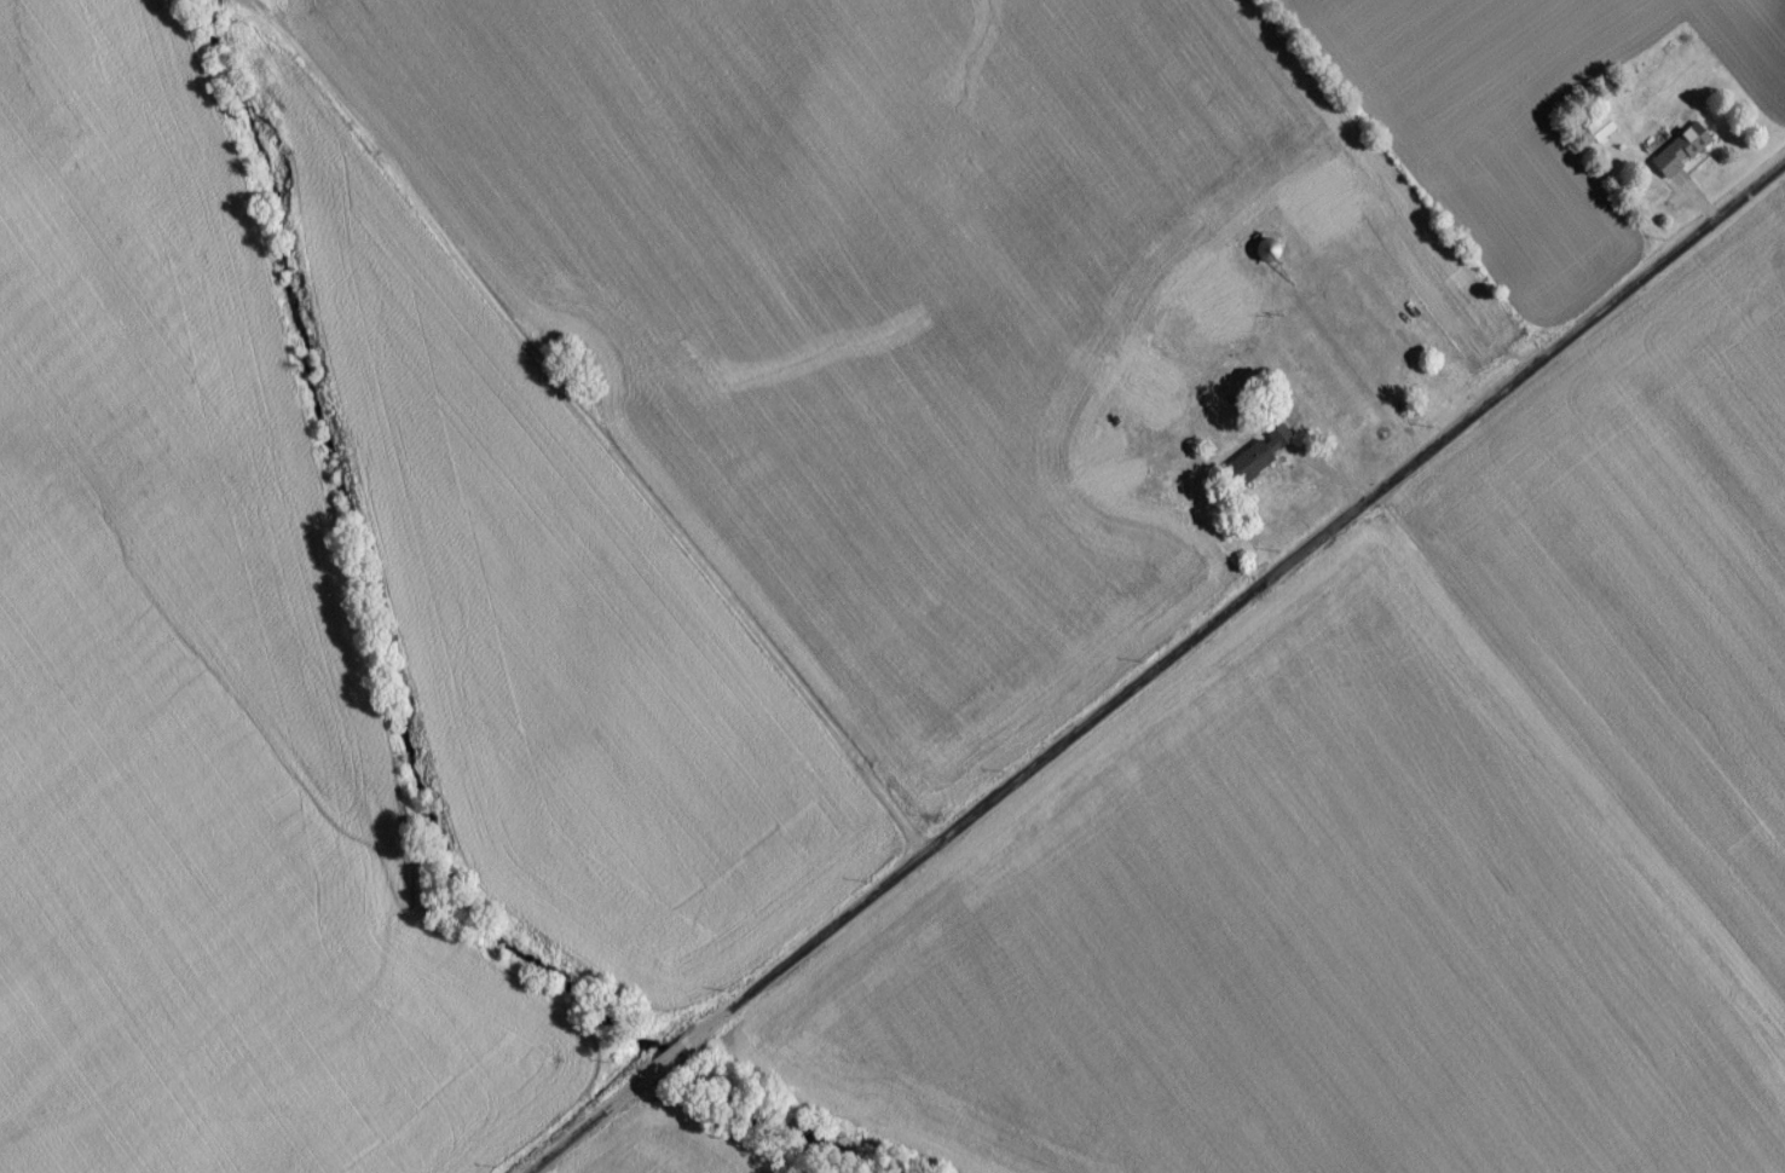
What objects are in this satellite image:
building: (1683, 157)
building: (1329, 221)
building: (1227, 311)
building: (1162, 401)
road: (580, 429)
building: (1261, 463)
road: (1352, 514)
road: (802, 957)
road: (669, 1065)
road: (596, 1125)

